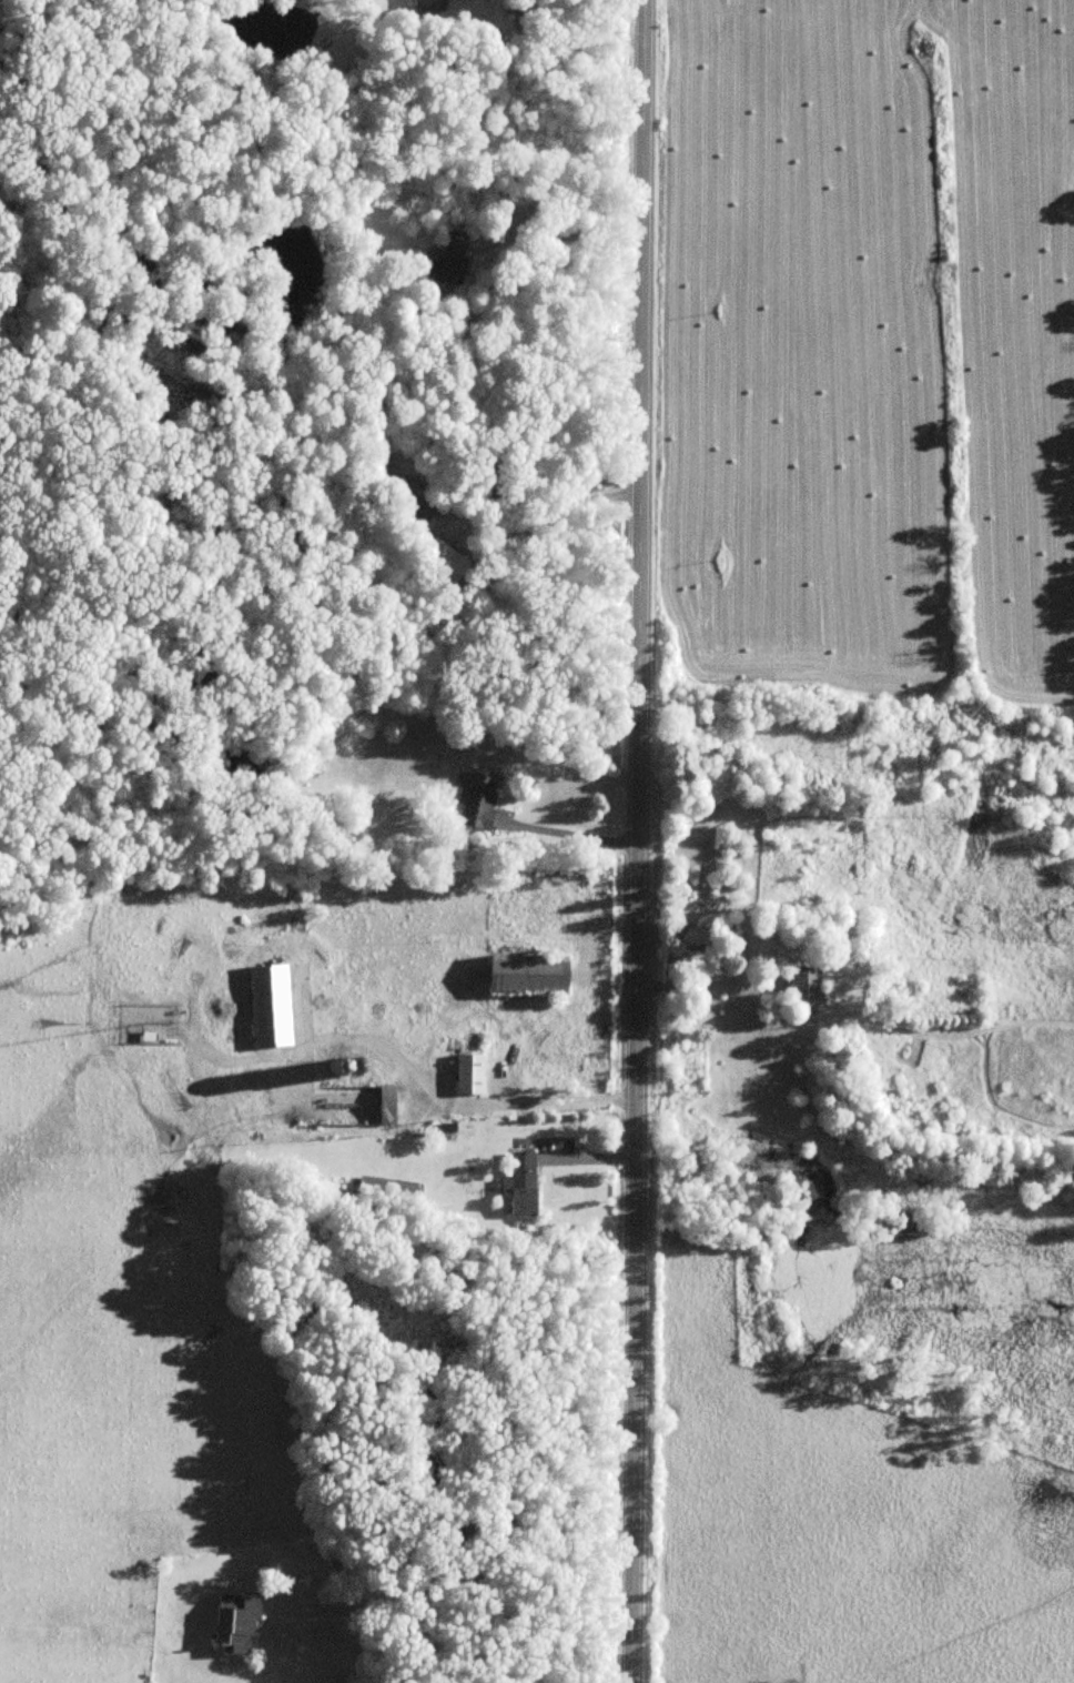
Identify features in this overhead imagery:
building: (434, 4)
road: (561, 236)
building: (455, 268)
building: (411, 502)
road: (553, 503)
building: (480, 802)
road: (571, 828)
road: (635, 840)
building: (700, 935)
building: (531, 972)
building: (808, 985)
building: (272, 1005)
building: (473, 1072)
road: (463, 1101)
building: (388, 1105)
building: (524, 1182)
building: (389, 1189)
road: (394, 1620)
building: (239, 1624)

